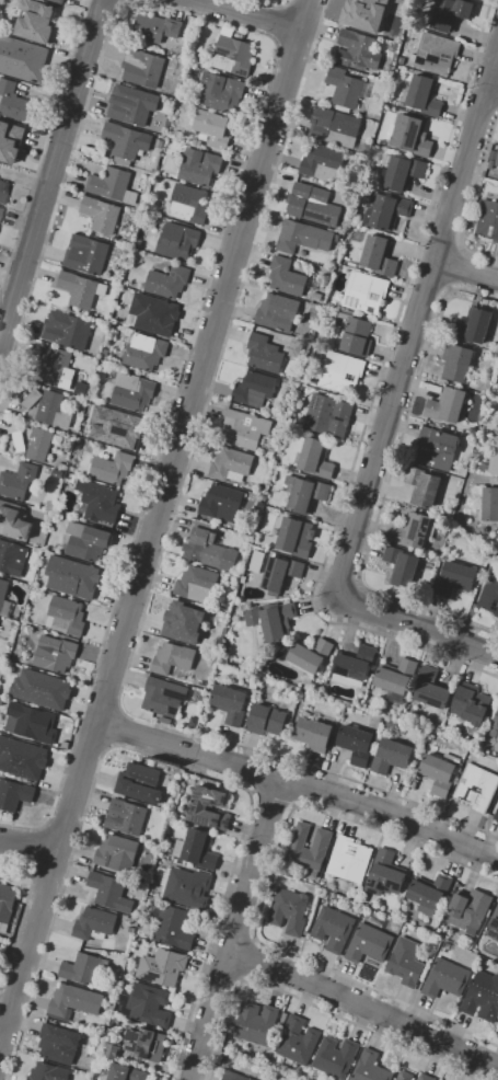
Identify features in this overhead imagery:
building: (58, 1)
road: (320, 1)
road: (274, 5)
building: (369, 12)
road: (250, 14)
building: (450, 14)
building: (36, 21)
road: (280, 23)
building: (157, 27)
building: (189, 39)
building: (358, 50)
building: (233, 53)
building: (435, 54)
road: (487, 57)
building: (23, 59)
road: (292, 61)
building: (143, 67)
road: (493, 84)
building: (345, 88)
building: (221, 91)
building: (422, 96)
road: (482, 97)
building: (13, 101)
building: (132, 104)
building: (215, 127)
building: (335, 127)
building: (412, 136)
building: (11, 140)
building: (127, 140)
building: (160, 143)
road: (44, 148)
building: (494, 159)
building: (323, 161)
building: (199, 166)
building: (402, 171)
road: (51, 172)
building: (113, 185)
building: (3, 191)
road: (59, 196)
road: (473, 199)
building: (188, 204)
building: (313, 205)
building: (0, 209)
building: (385, 210)
building: (101, 214)
building: (487, 220)
building: (303, 235)
building: (336, 237)
building: (177, 241)
road: (442, 241)
building: (86, 254)
building: (379, 254)
road: (456, 267)
road: (465, 271)
building: (287, 277)
road: (430, 279)
building: (169, 280)
building: (81, 289)
building: (366, 291)
building: (317, 296)
building: (278, 312)
building: (154, 313)
building: (473, 325)
building: (68, 329)
building: (358, 336)
building: (297, 347)
building: (144, 352)
building: (265, 353)
building: (458, 361)
building: (50, 364)
building: (341, 372)
building: (255, 389)
building: (132, 391)
road: (176, 394)
building: (32, 398)
road: (373, 400)
road: (393, 401)
building: (448, 404)
building: (54, 410)
building: (328, 415)
building: (497, 423)
building: (116, 427)
building: (245, 428)
building: (19, 441)
building: (39, 444)
building: (438, 448)
building: (316, 458)
building: (494, 459)
building: (232, 464)
building: (112, 468)
building: (60, 473)
building: (18, 481)
road: (390, 482)
building: (424, 486)
building: (308, 494)
building: (99, 501)
building: (222, 503)
building: (490, 505)
building: (51, 506)
building: (439, 518)
building: (14, 519)
road: (155, 521)
building: (414, 530)
building: (297, 537)
building: (86, 541)
road: (164, 547)
building: (209, 548)
building: (12, 558)
building: (402, 566)
building: (281, 573)
building: (72, 576)
building: (456, 578)
building: (235, 581)
building: (196, 584)
building: (490, 594)
building: (4, 599)
building: (66, 616)
building: (273, 620)
building: (184, 621)
building: (55, 653)
building: (7, 655)
building: (310, 655)
building: (173, 658)
building: (354, 666)
building: (395, 679)
building: (431, 688)
building: (42, 689)
building: (164, 697)
building: (0, 700)
building: (230, 703)
building: (472, 703)
building: (165, 720)
building: (267, 720)
building: (28, 722)
building: (495, 722)
building: (392, 723)
road: (117, 729)
building: (313, 734)
building: (421, 737)
building: (357, 744)
building: (394, 756)
road: (159, 757)
building: (22, 758)
building: (151, 762)
building: (440, 772)
building: (140, 782)
road: (299, 784)
building: (477, 788)
building: (14, 794)
road: (271, 801)
building: (166, 805)
building: (199, 807)
building: (496, 815)
building: (126, 817)
building: (322, 839)
road: (27, 843)
road: (32, 845)
building: (197, 849)
building: (117, 853)
building: (349, 859)
building: (386, 874)
building: (187, 887)
building: (109, 891)
road: (265, 893)
building: (431, 893)
road: (24, 904)
building: (5, 905)
building: (290, 910)
building: (470, 910)
building: (94, 923)
building: (172, 926)
building: (430, 926)
building: (494, 927)
road: (235, 929)
building: (333, 929)
building: (369, 943)
road: (248, 961)
building: (406, 962)
building: (163, 966)
building: (84, 968)
building: (445, 978)
building: (483, 997)
building: (73, 1002)
building: (147, 1004)
road: (314, 1004)
road: (363, 1007)
building: (257, 1023)
building: (497, 1026)
road: (1, 1035)
building: (299, 1041)
building: (59, 1043)
building: (147, 1043)
building: (112, 1050)
building: (336, 1057)
building: (370, 1067)
building: (48, 1072)
building: (126, 1072)
building: (234, 1076)
building: (405, 1076)
building: (426, 1077)

